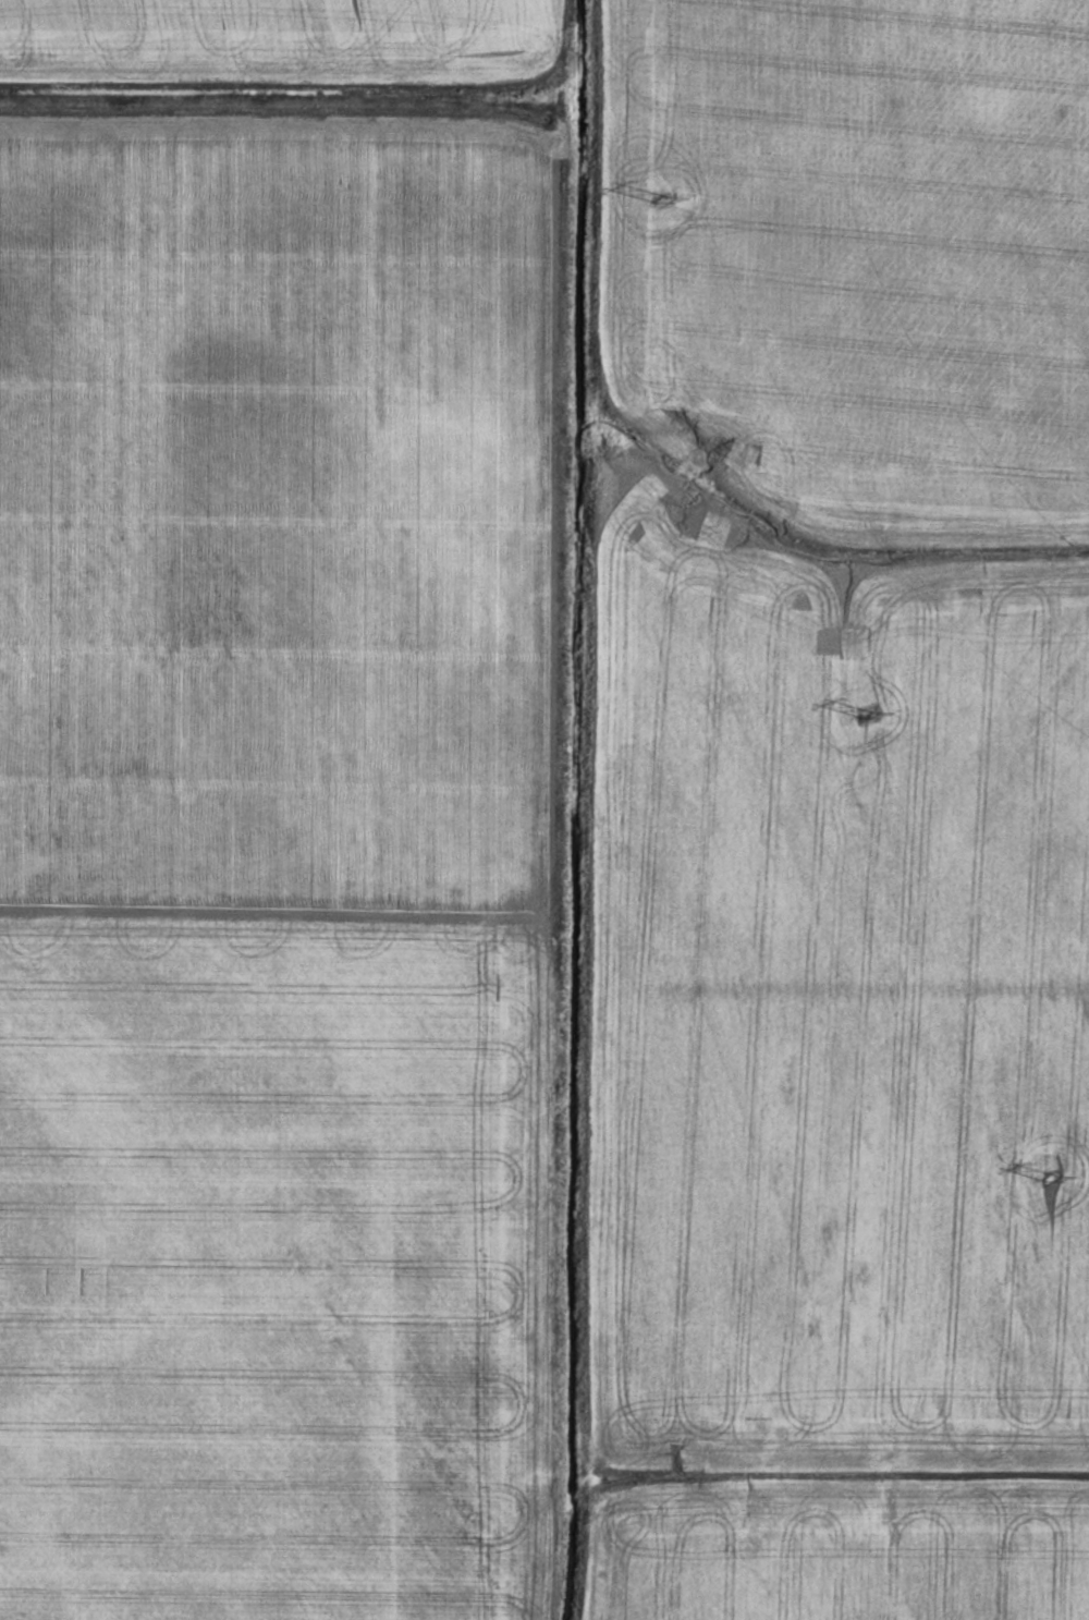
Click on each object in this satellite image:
power tower: (663, 198)
power tower: (866, 711)
power tower: (1051, 1176)

